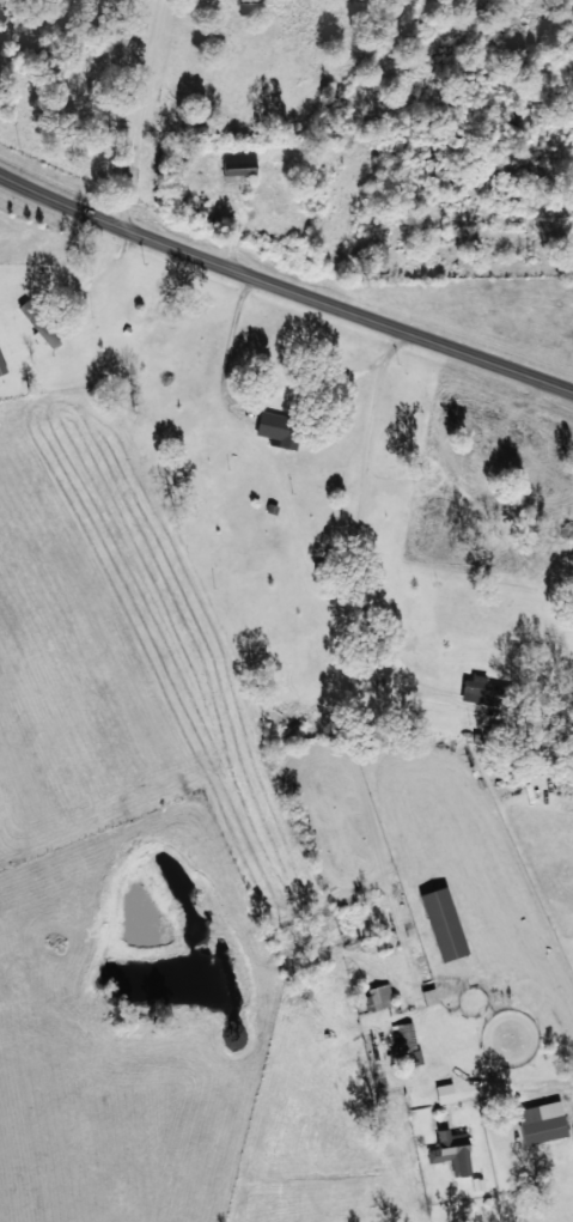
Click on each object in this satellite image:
building: (238, 165)
road: (285, 287)
building: (39, 327)
building: (1, 366)
building: (278, 428)
building: (481, 689)
building: (496, 730)
road: (345, 893)
building: (443, 924)
building: (380, 996)
building: (429, 996)
road: (538, 1004)
building: (404, 1035)
building: (542, 1123)
building: (451, 1151)

